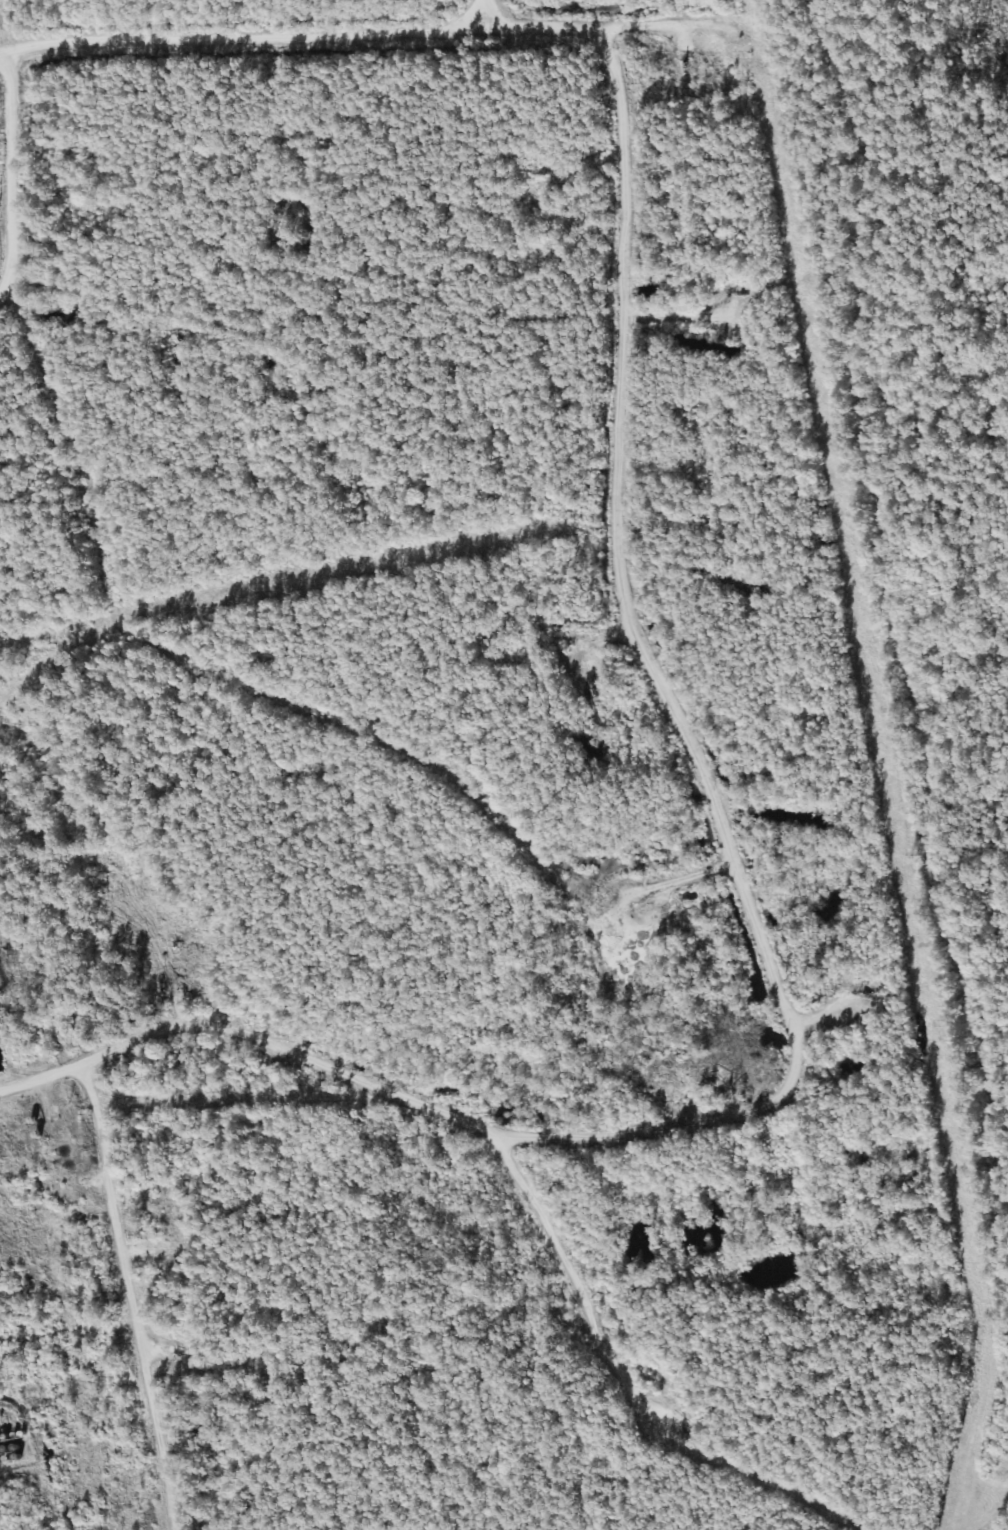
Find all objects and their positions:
road: (472, 2)
road: (346, 15)
road: (661, 687)
road: (402, 1065)
road: (118, 1295)

